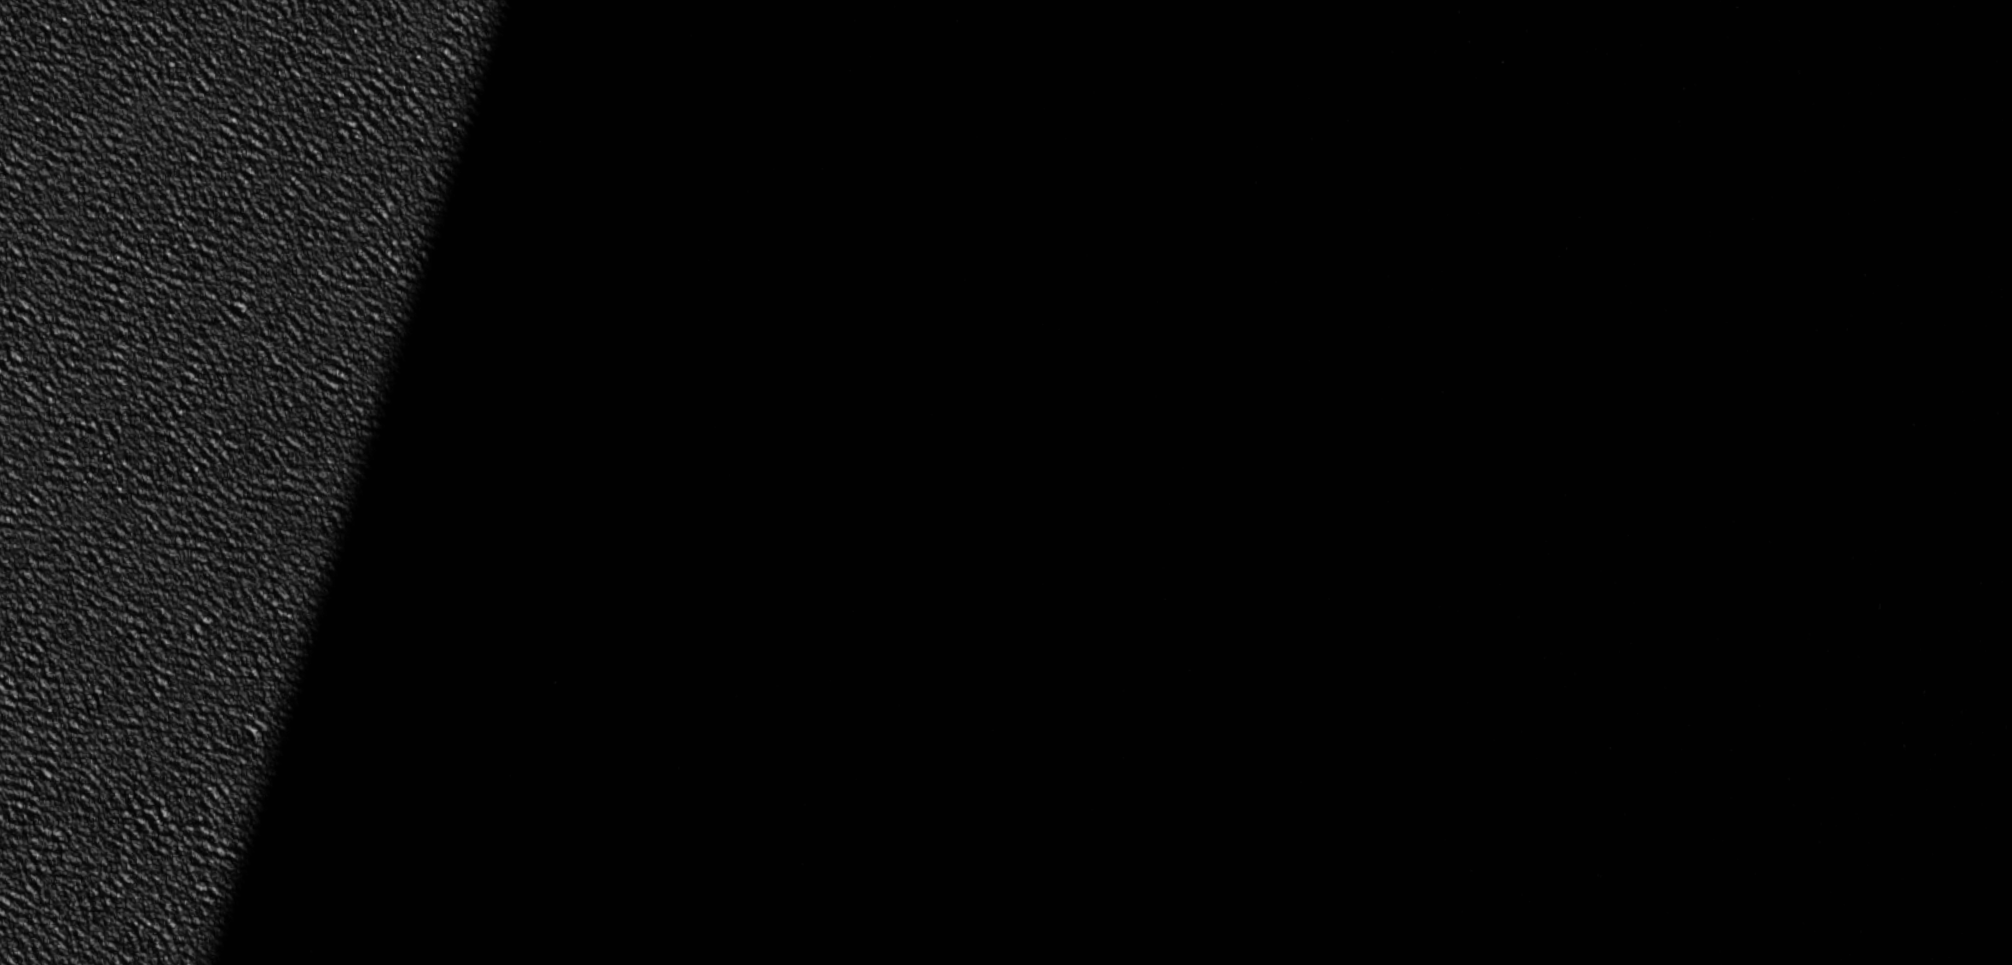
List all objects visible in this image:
river: (1828, 823)

